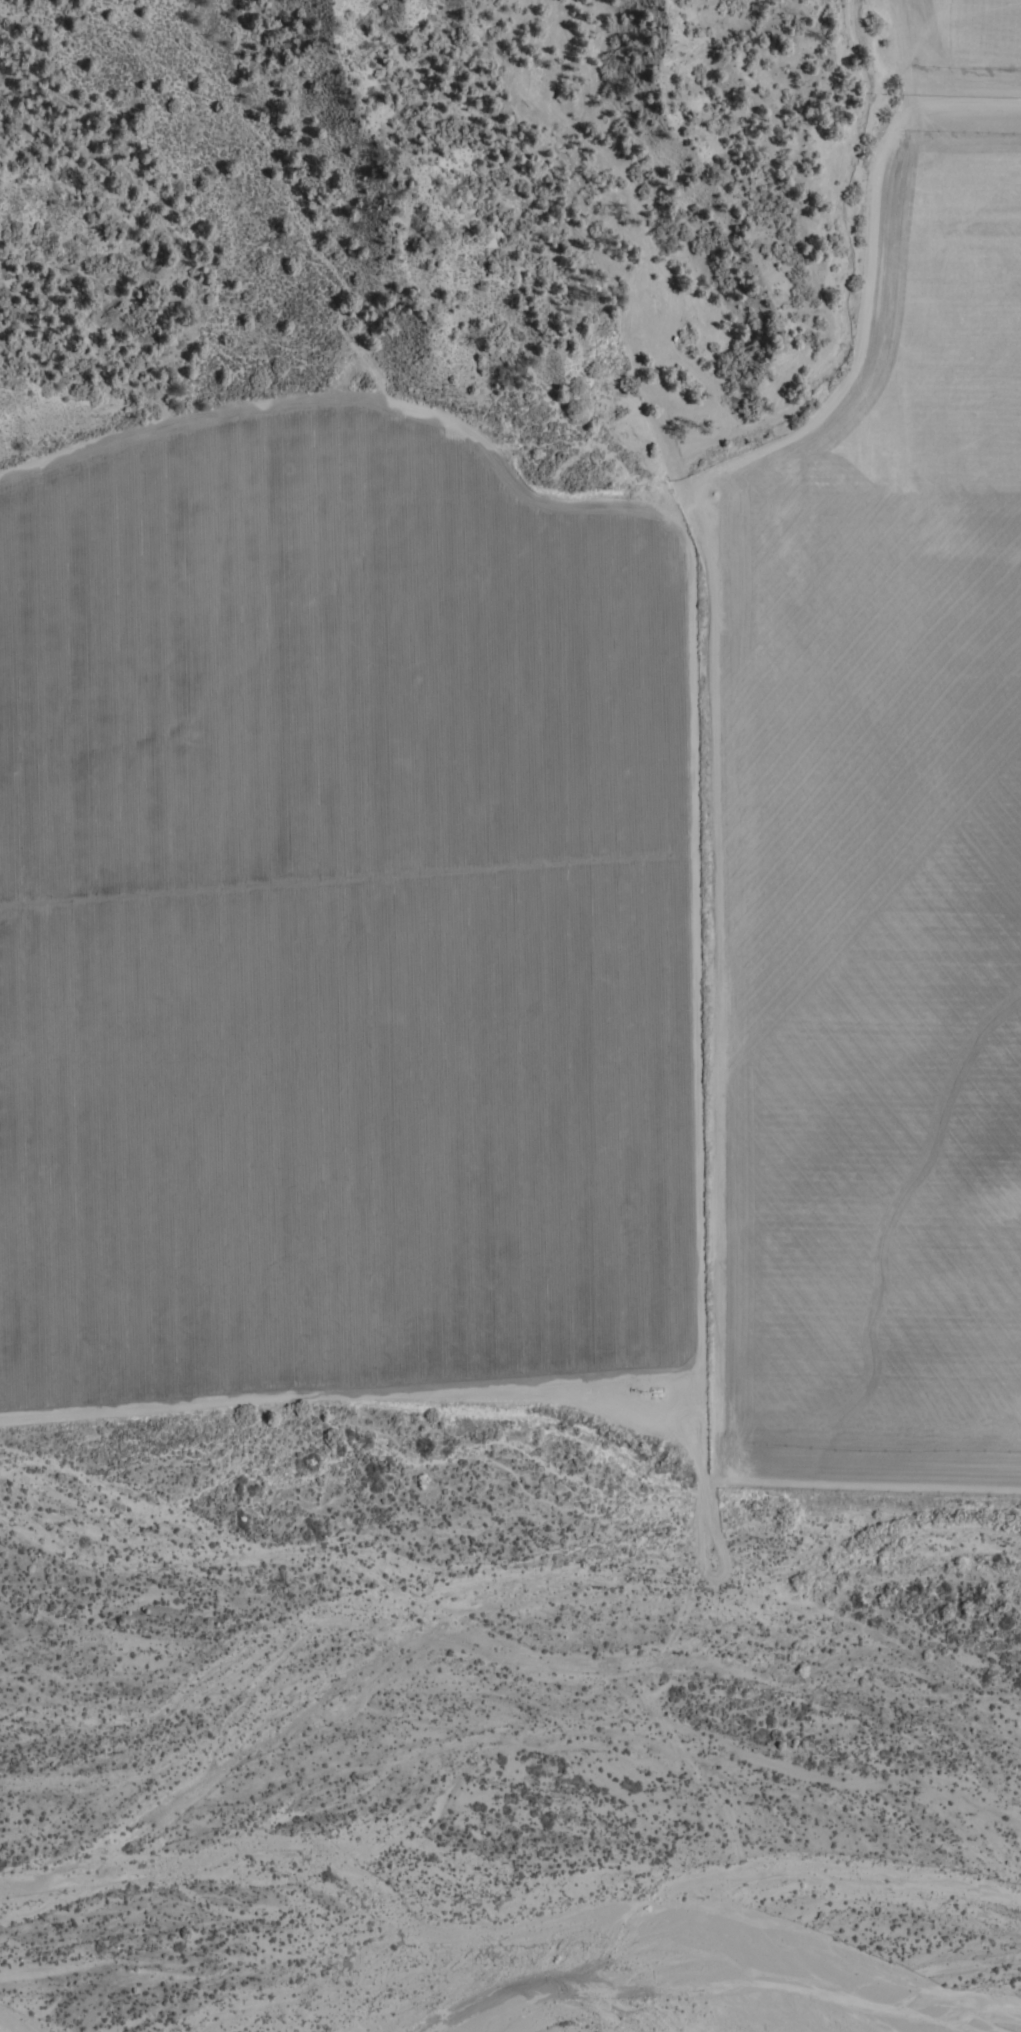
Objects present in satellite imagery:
road: (519, 1410)
river: (401, 1711)
river: (892, 1819)

